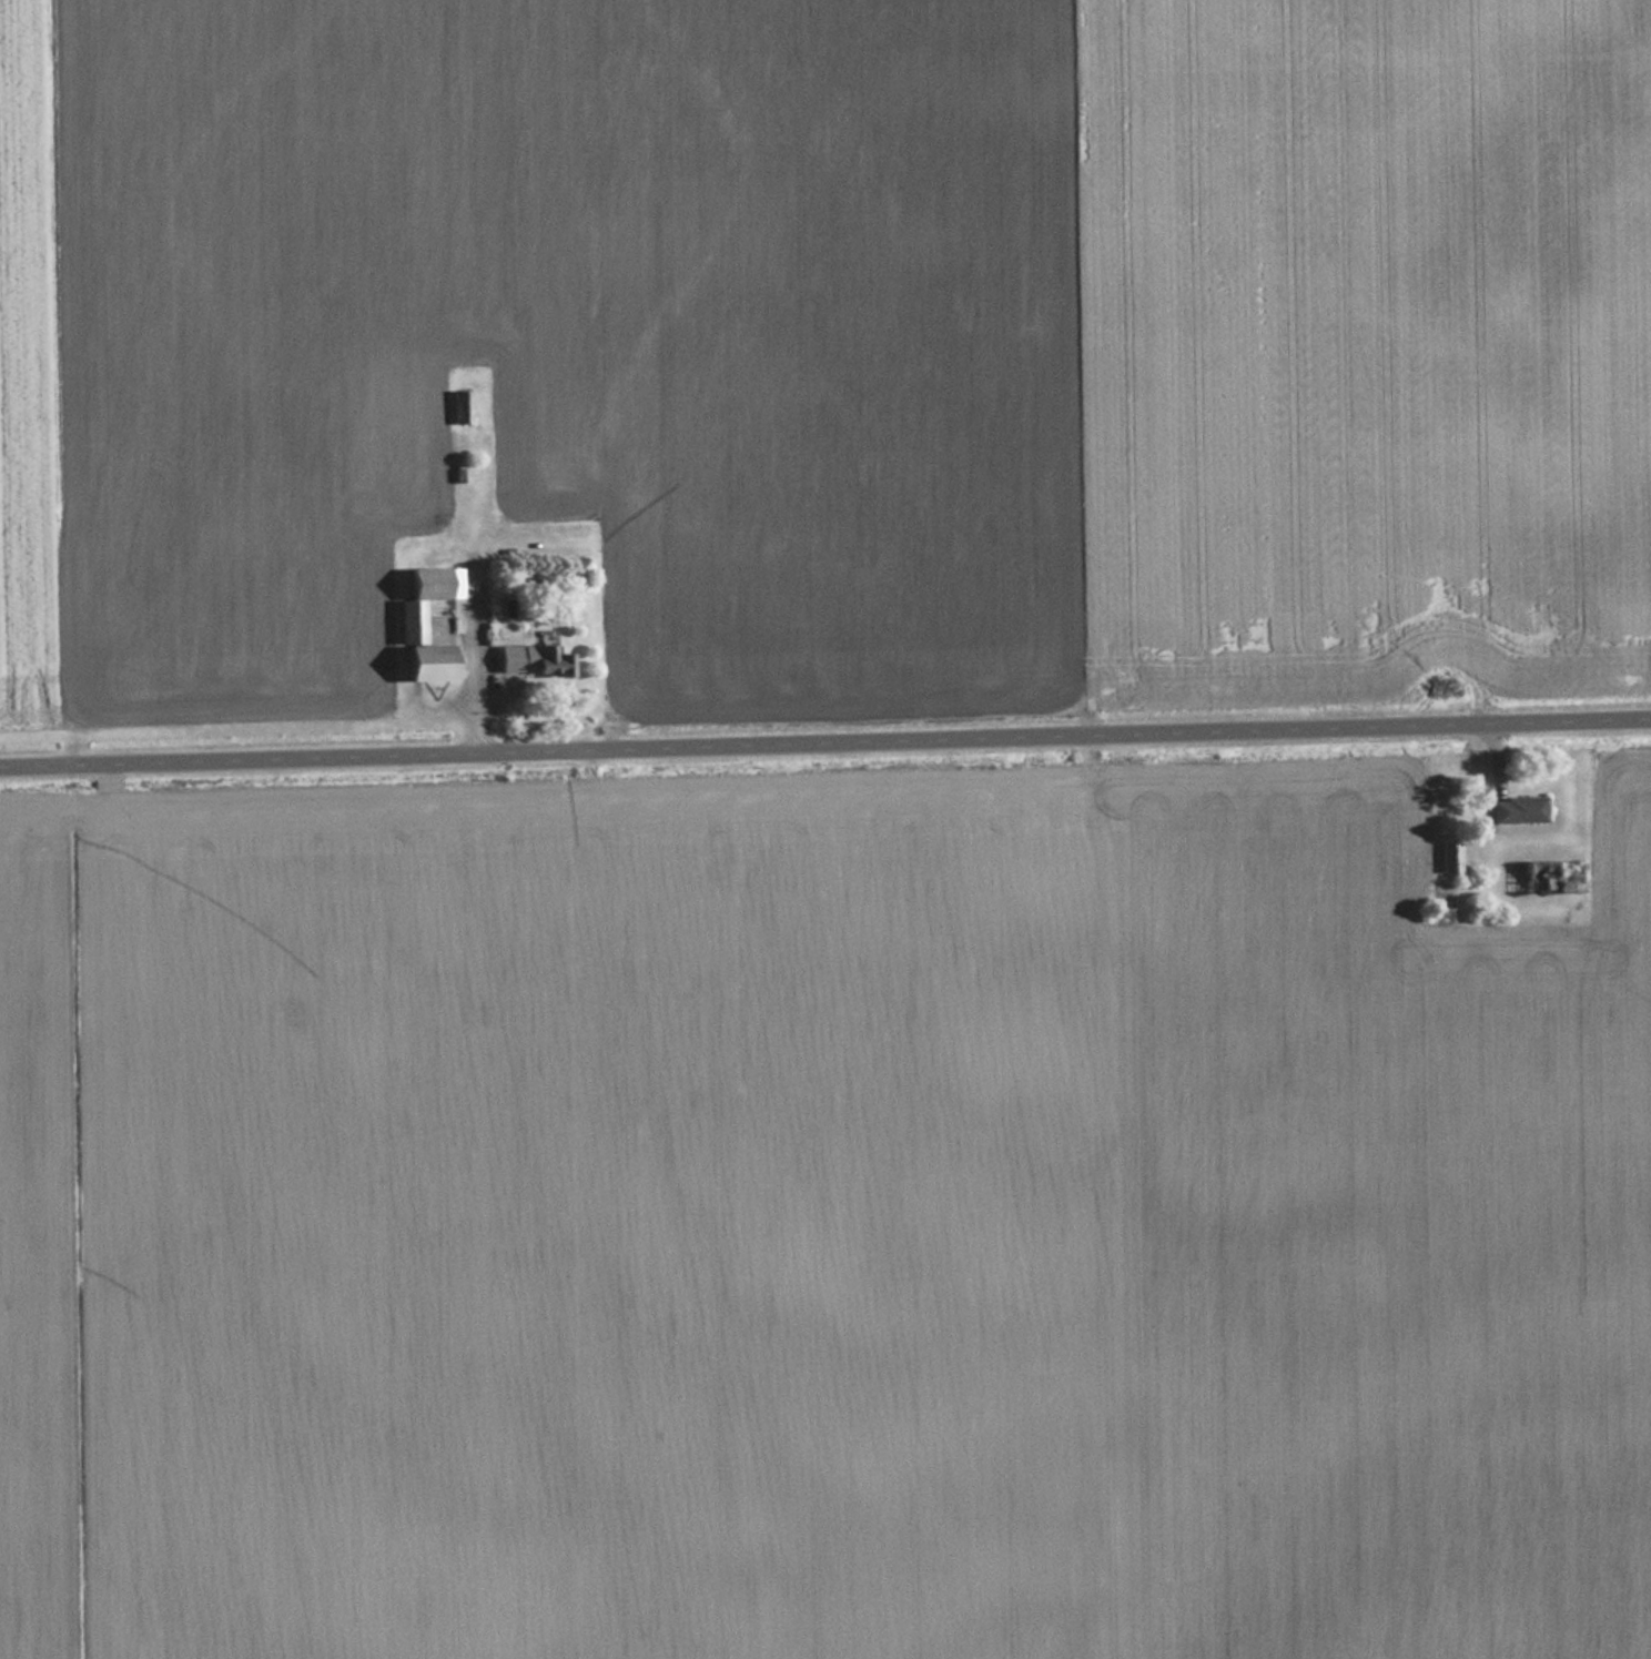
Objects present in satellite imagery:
building: (460, 406)
building: (409, 620)
building: (533, 657)
road: (825, 745)
building: (1518, 808)
building: (1449, 856)
building: (1551, 874)

